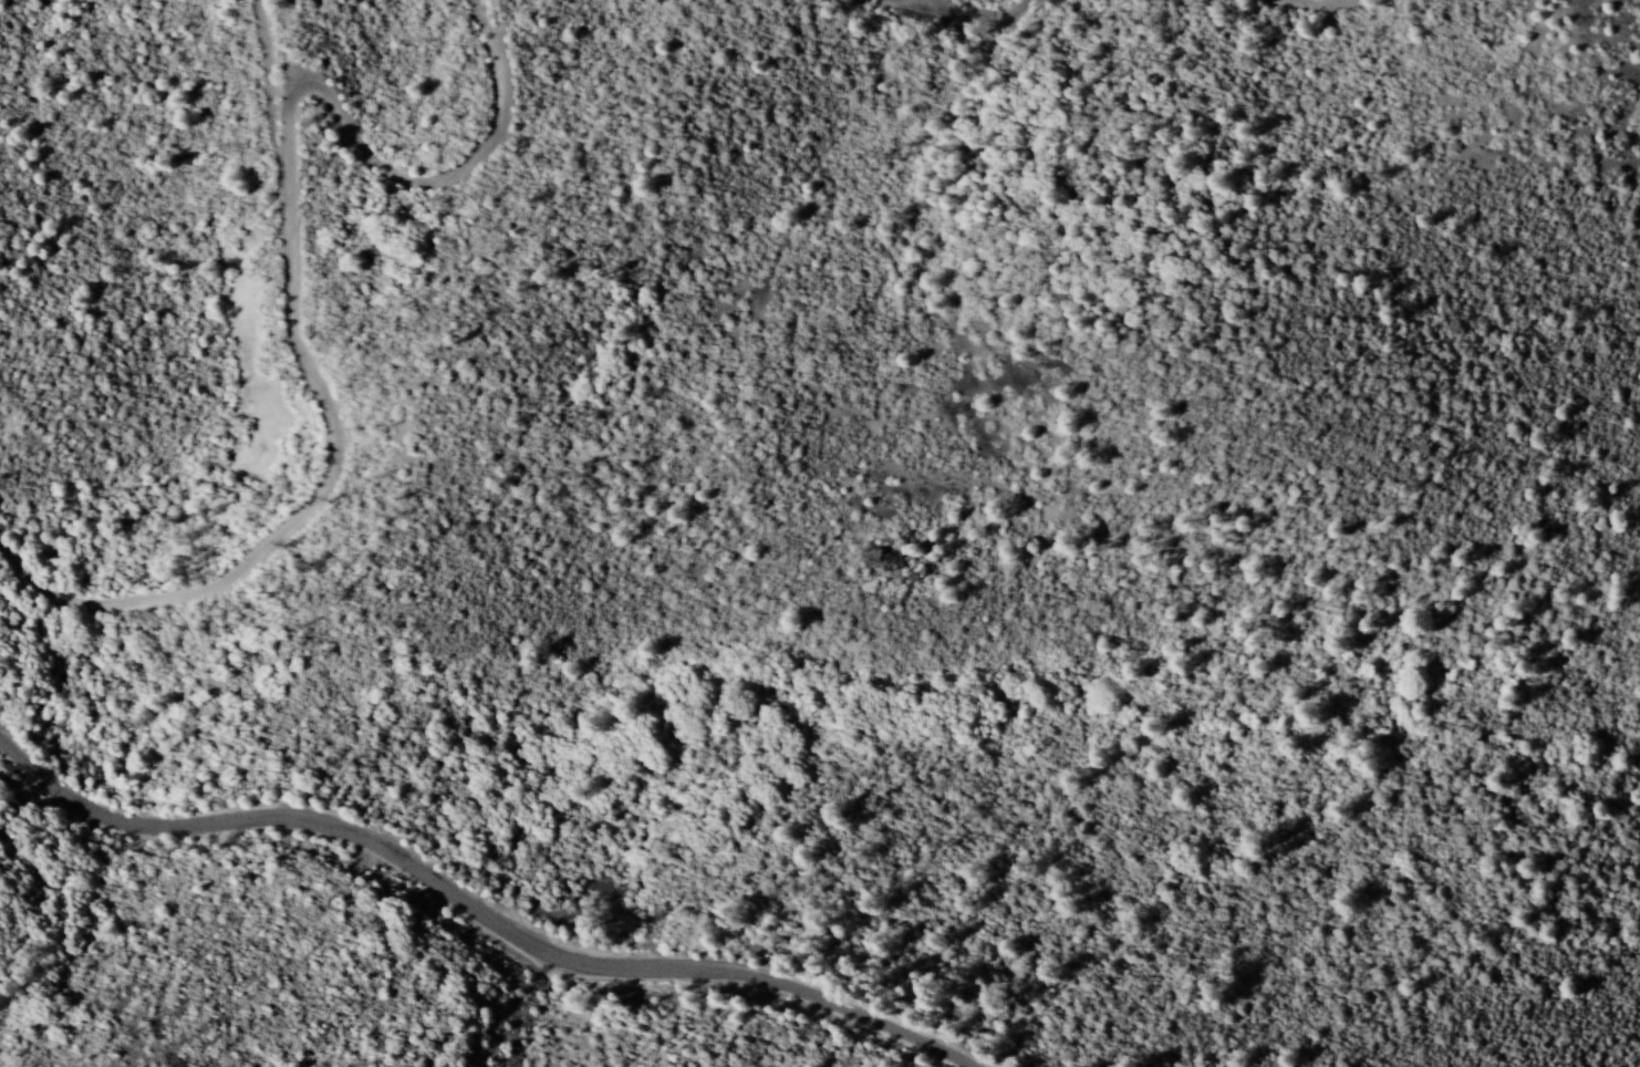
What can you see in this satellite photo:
road: (1324, 2)
road: (977, 18)
road: (292, 286)
road: (474, 912)

